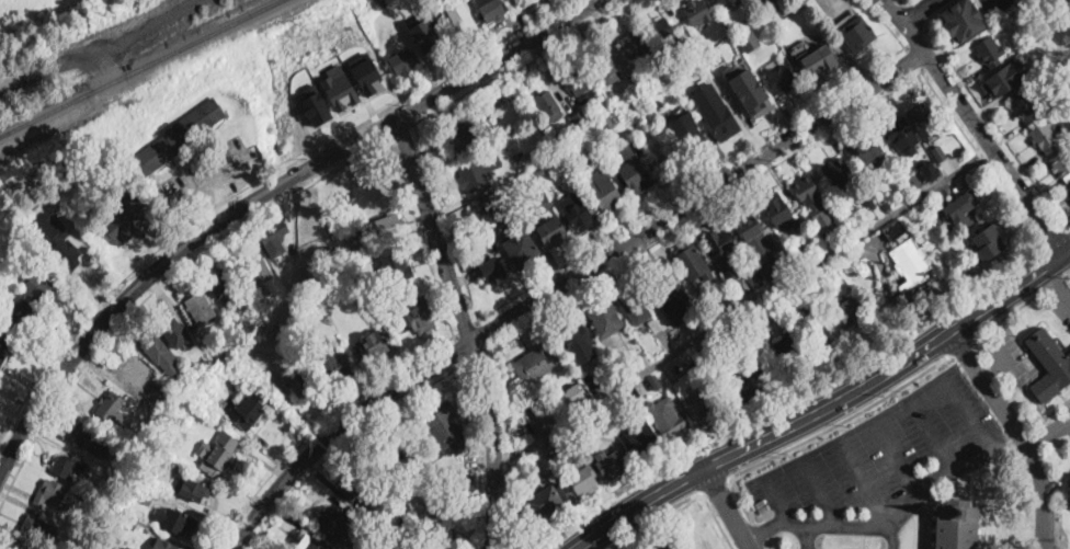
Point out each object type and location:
building: (524, 2)
building: (728, 3)
road: (1008, 4)
parking lot: (998, 5)
railway: (15, 7)
road: (918, 9)
road: (983, 9)
building: (491, 10)
road: (934, 11)
building: (697, 12)
road: (914, 13)
building: (774, 15)
building: (964, 19)
building: (464, 21)
building: (739, 21)
road: (887, 23)
building: (365, 24)
road: (907, 24)
building: (664, 32)
building: (858, 34)
building: (453, 37)
building: (749, 38)
building: (428, 44)
building: (636, 44)
building: (990, 52)
road: (913, 58)
road: (517, 59)
building: (817, 59)
building: (402, 62)
railway: (141, 68)
building: (607, 68)
building: (665, 68)
building: (703, 68)
building: (368, 76)
building: (1006, 78)
building: (781, 79)
building: (581, 87)
building: (341, 88)
building: (749, 89)
building: (612, 94)
building: (659, 104)
building: (549, 105)
building: (629, 105)
building: (318, 106)
building: (1026, 107)
building: (716, 111)
building: (1056, 117)
building: (581, 118)
building: (923, 119)
building: (607, 122)
road: (399, 127)
building: (509, 127)
building: (554, 128)
road: (995, 128)
building: (582, 133)
building: (900, 136)
building: (557, 137)
building: (1045, 137)
building: (175, 138)
building: (462, 138)
building: (693, 138)
building: (867, 149)
building: (938, 152)
road: (980, 155)
road: (995, 155)
building: (517, 158)
building: (1062, 164)
building: (929, 171)
building: (540, 172)
building: (635, 172)
building: (838, 172)
building: (24, 176)
building: (475, 176)
building: (526, 178)
road: (209, 182)
road: (255, 183)
road: (693, 185)
building: (1069, 188)
building: (603, 191)
road: (264, 196)
road: (219, 199)
building: (0, 201)
building: (813, 201)
building: (543, 204)
building: (960, 205)
building: (880, 206)
road: (705, 209)
building: (488, 210)
building: (777, 210)
building: (579, 213)
building: (33, 214)
building: (127, 219)
road: (446, 219)
building: (749, 226)
building: (385, 228)
building: (897, 229)
building: (553, 231)
road: (420, 235)
building: (274, 236)
building: (988, 243)
building: (721, 244)
building: (522, 249)
building: (64, 250)
building: (353, 251)
building: (691, 260)
building: (257, 264)
building: (396, 264)
building: (912, 264)
building: (772, 267)
building: (492, 268)
road: (1067, 272)
building: (829, 275)
building: (755, 279)
road: (1054, 281)
building: (225, 282)
road: (566, 282)
road: (1056, 283)
building: (37, 284)
road: (158, 284)
building: (672, 295)
parking lot: (1060, 301)
building: (727, 302)
building: (201, 306)
road: (742, 306)
building: (637, 309)
building: (847, 311)
road: (1008, 312)
building: (18, 313)
building: (418, 313)
building: (605, 318)
building: (174, 327)
road: (465, 327)
road: (467, 330)
road: (481, 333)
building: (577, 336)
building: (823, 339)
building: (375, 343)
road: (959, 345)
building: (156, 346)
building: (2, 347)
building: (789, 347)
road: (459, 348)
road: (475, 354)
parking lot: (1004, 355)
building: (0, 361)
building: (537, 363)
road: (1006, 363)
building: (1049, 365)
building: (627, 367)
building: (333, 368)
building: (571, 370)
building: (140, 375)
building: (296, 376)
building: (657, 382)
building: (750, 385)
building: (571, 396)
building: (694, 396)
building: (179, 398)
parking lot: (1068, 405)
building: (538, 407)
building: (162, 408)
road: (827, 408)
building: (111, 410)
building: (249, 411)
road: (966, 413)
building: (665, 416)
road: (319, 424)
building: (446, 425)
parking lot: (1052, 431)
building: (146, 432)
road: (1020, 432)
road: (1047, 432)
road: (822, 433)
road: (930, 433)
road: (508, 434)
building: (159, 437)
building: (641, 438)
building: (92, 439)
road: (343, 441)
building: (398, 451)
building: (217, 453)
building: (135, 455)
road: (479, 455)
road: (897, 456)
parking lot: (883, 461)
building: (611, 465)
building: (68, 466)
building: (443, 466)
building: (409, 476)
building: (141, 477)
building: (452, 480)
road: (864, 480)
building: (583, 482)
building: (357, 483)
road: (716, 484)
building: (190, 488)
road: (821, 492)
building: (53, 495)
building: (148, 495)
building: (1069, 495)
building: (546, 496)
road: (776, 500)
road: (727, 507)
building: (107, 514)
road: (658, 516)
building: (377, 517)
road: (893, 518)
building: (175, 521)
road: (717, 521)
building: (129, 522)
building: (335, 522)
building: (439, 523)
building: (387, 524)
building: (956, 525)
building: (371, 526)
building: (38, 527)
road: (760, 531)
road: (896, 535)
road: (807, 537)
parking lot: (893, 537)
parking lot: (807, 538)
road: (863, 542)
building: (162, 544)
building: (312, 544)
building: (400, 546)
road: (766, 546)
building: (19, 547)
building: (652, 547)
building: (862, 548)

